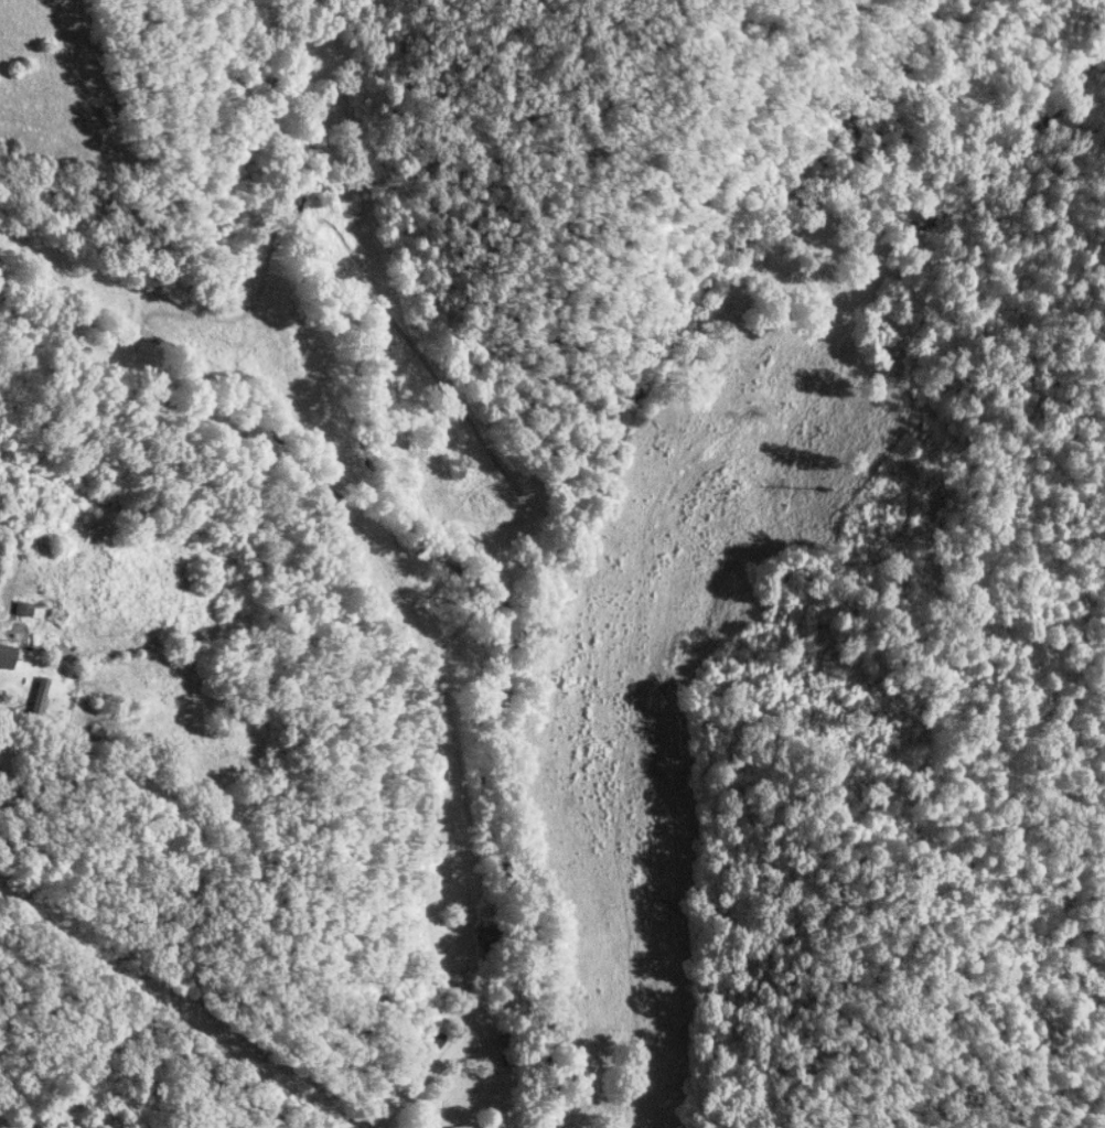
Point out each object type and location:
building: (21, 608)
building: (4, 656)
building: (39, 697)
road: (167, 1000)
building: (464, 1127)

